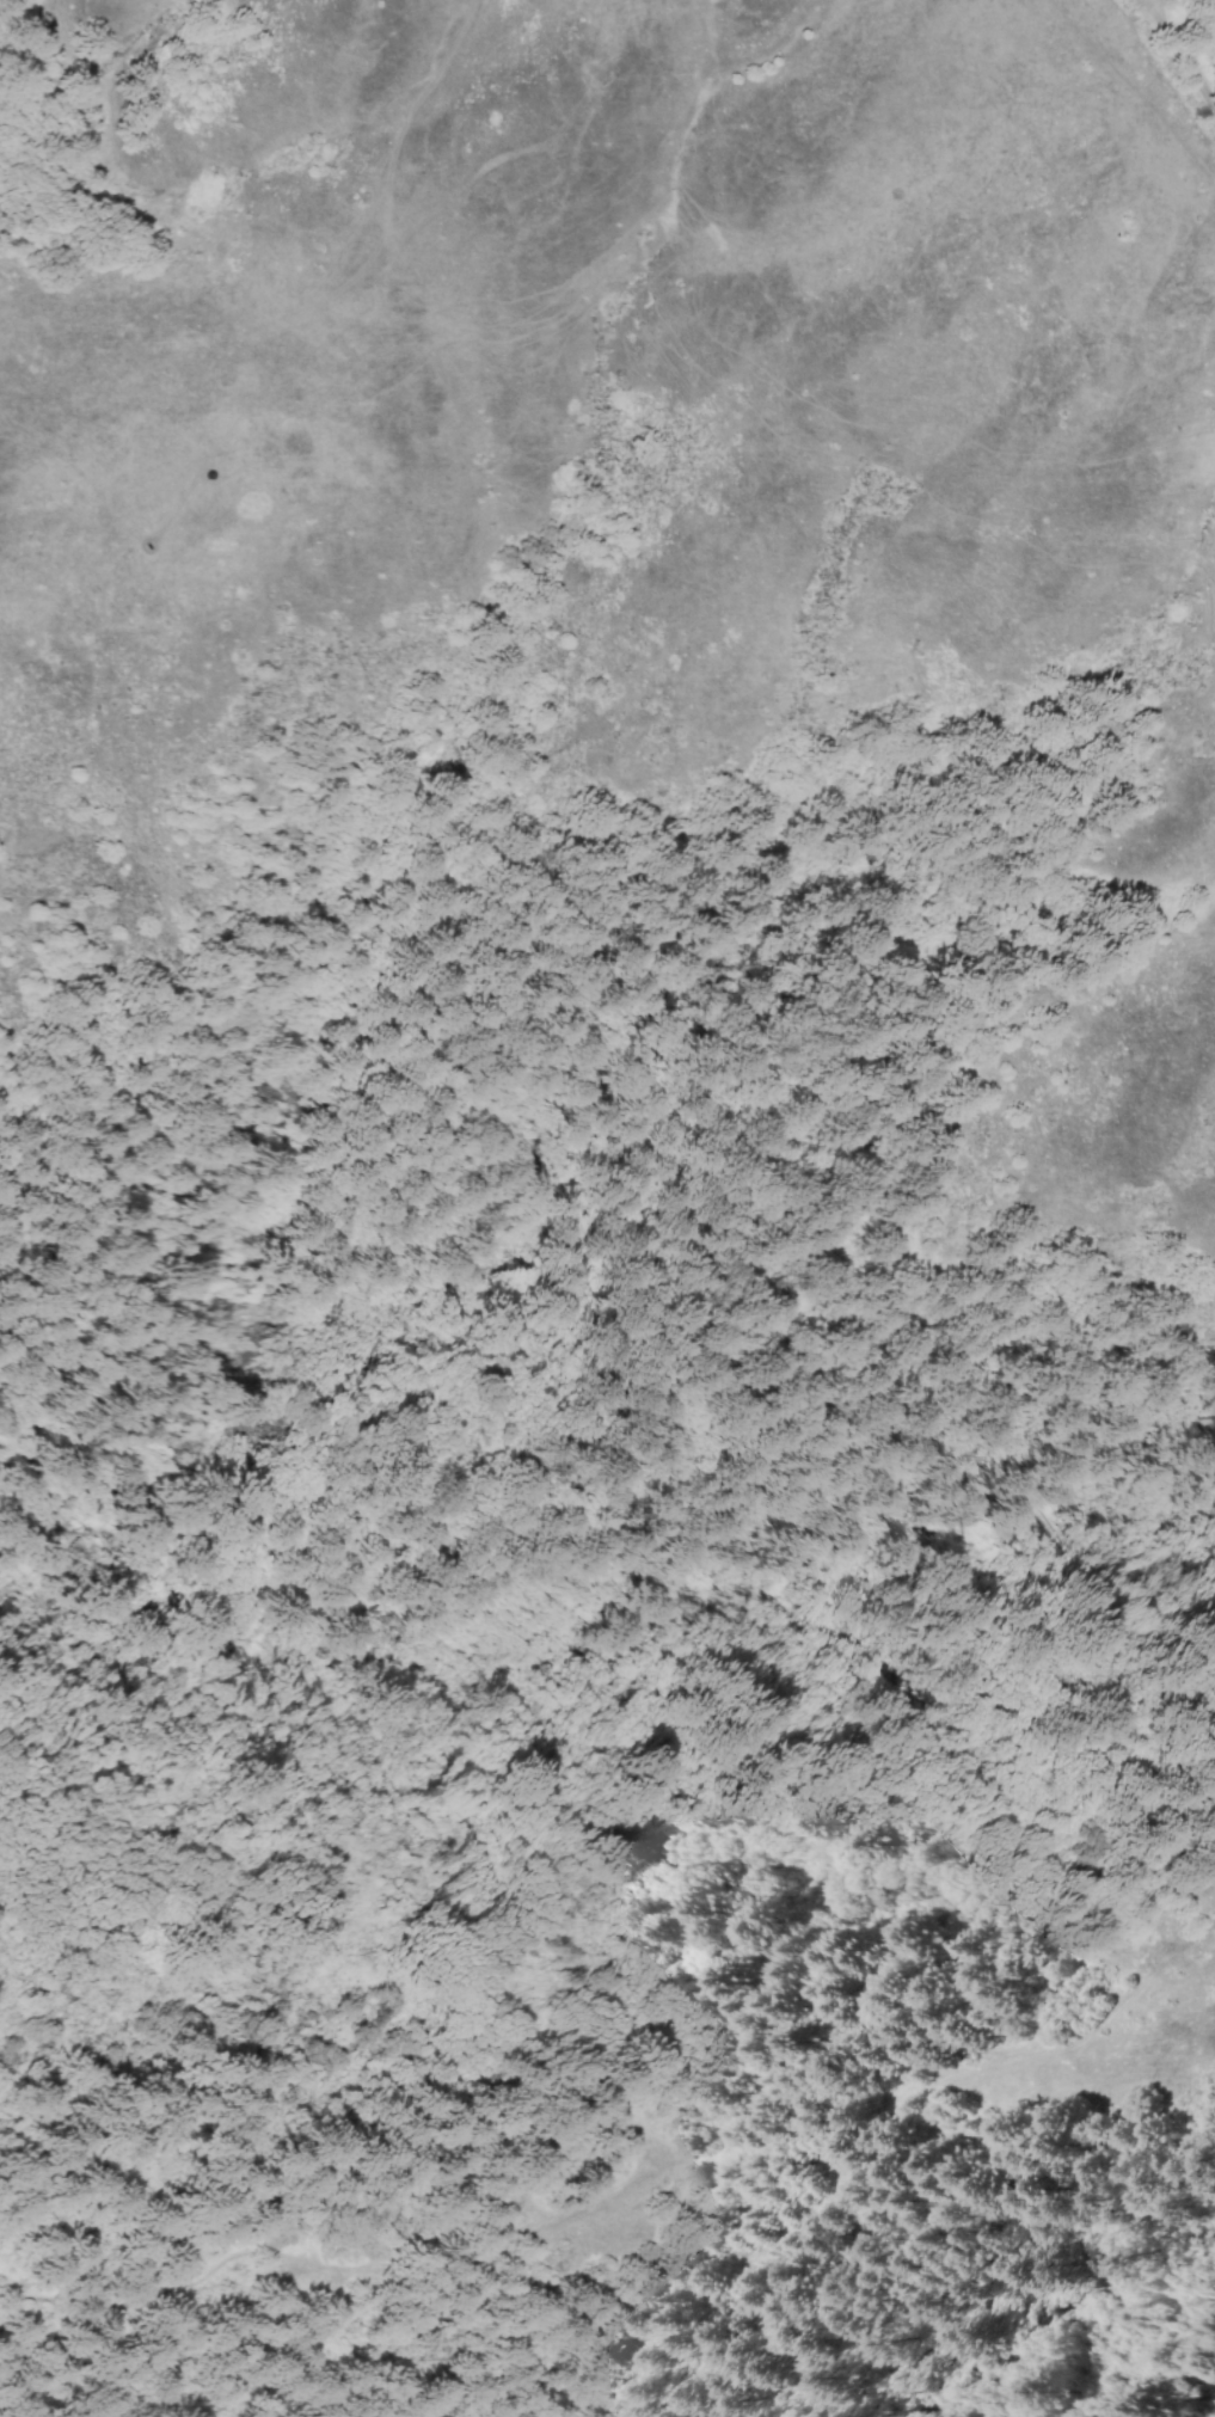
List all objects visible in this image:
road: (1155, 7)
road: (1161, 7)
road: (1188, 55)
road: (630, 2177)

